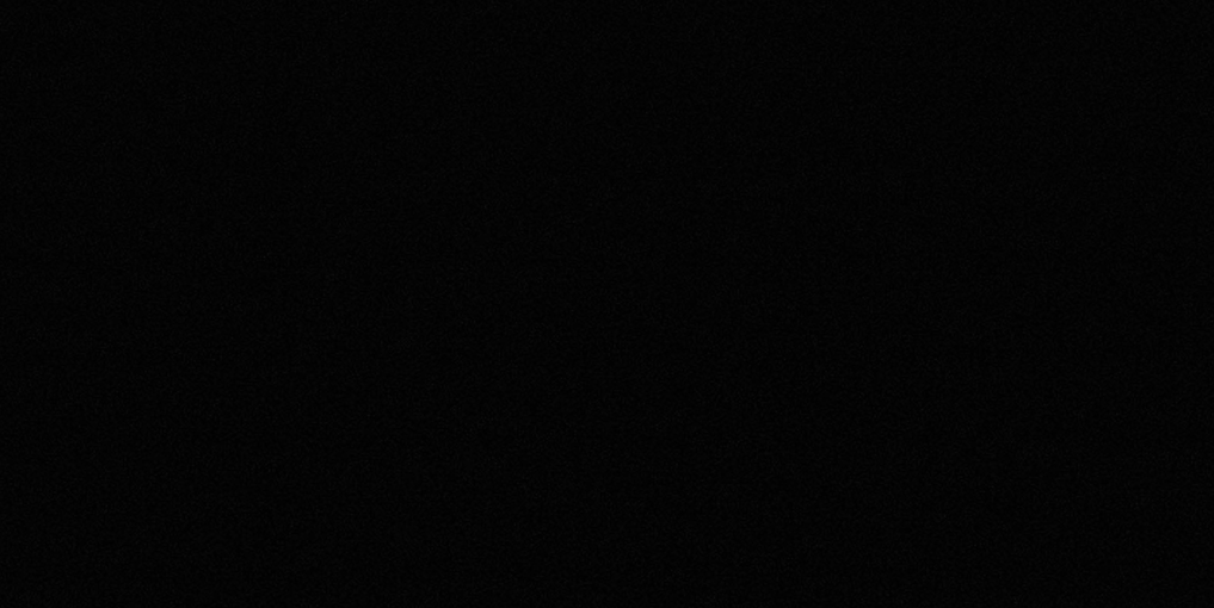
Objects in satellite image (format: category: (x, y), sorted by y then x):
river: (444, 113)

